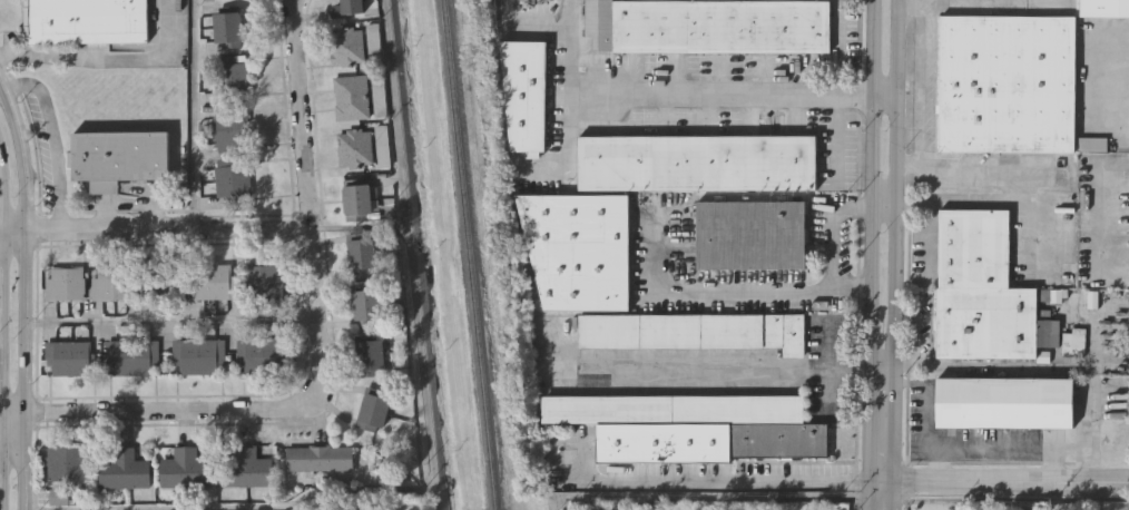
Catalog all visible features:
building: (1106, 7)
building: (346, 9)
building: (86, 20)
building: (709, 24)
building: (227, 28)
building: (373, 45)
building: (346, 46)
road: (572, 48)
building: (233, 77)
road: (1, 82)
building: (1009, 82)
road: (929, 84)
road: (1116, 85)
road: (834, 87)
building: (526, 91)
building: (379, 94)
building: (351, 97)
road: (733, 97)
road: (193, 114)
building: (230, 128)
road: (50, 140)
building: (1092, 143)
building: (382, 146)
building: (355, 148)
road: (21, 155)
building: (118, 156)
building: (698, 160)
road: (993, 167)
building: (230, 179)
road: (3, 189)
building: (356, 200)
road: (885, 200)
road: (1005, 202)
road: (1113, 204)
road: (360, 226)
road: (155, 227)
building: (752, 233)
road: (831, 244)
building: (579, 247)
building: (360, 254)
road: (894, 254)
road: (412, 255)
railway: (464, 255)
road: (875, 255)
building: (265, 279)
building: (213, 282)
building: (65, 284)
building: (112, 284)
building: (164, 284)
road: (738, 285)
building: (985, 290)
building: (365, 306)
road: (171, 320)
road: (930, 325)
building: (696, 328)
road: (1, 342)
building: (264, 353)
road: (320, 353)
building: (198, 354)
building: (132, 356)
building: (70, 357)
building: (370, 357)
road: (1063, 366)
road: (23, 369)
road: (717, 369)
road: (2, 370)
building: (1007, 401)
road: (926, 405)
building: (673, 406)
building: (370, 414)
building: (708, 439)
road: (11, 442)
road: (995, 450)
building: (320, 457)
building: (67, 462)
building: (247, 467)
building: (186, 468)
building: (126, 469)
road: (1001, 480)
road: (719, 497)
road: (232, 507)

